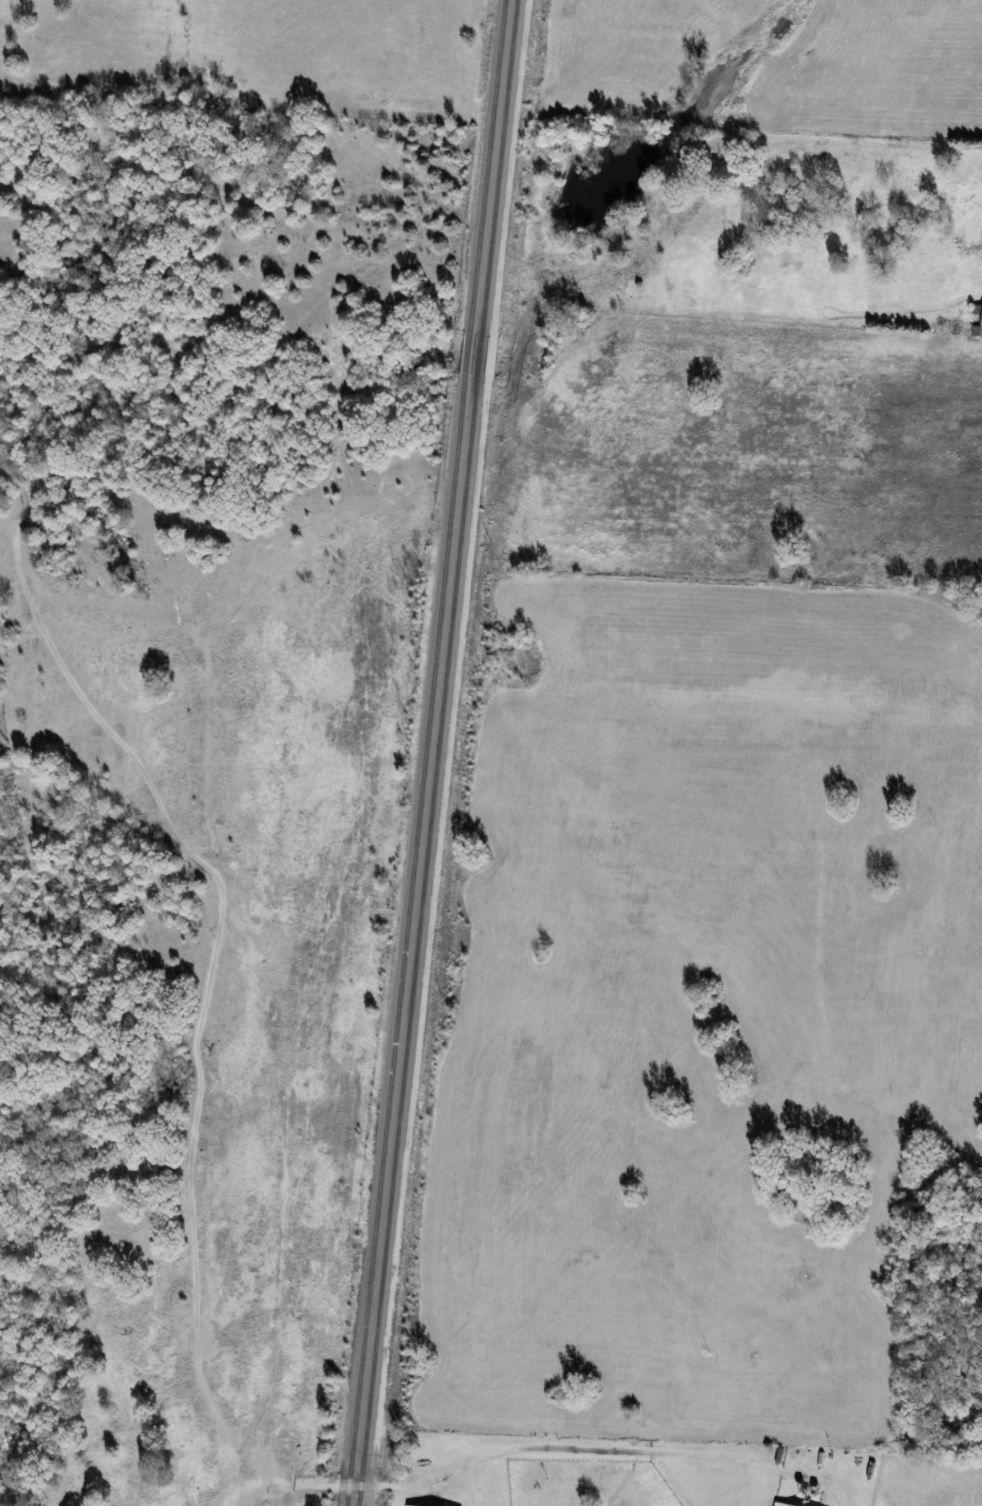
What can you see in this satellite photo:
railway: (436, 752)
building: (782, 1504)
building: (409, 1505)

